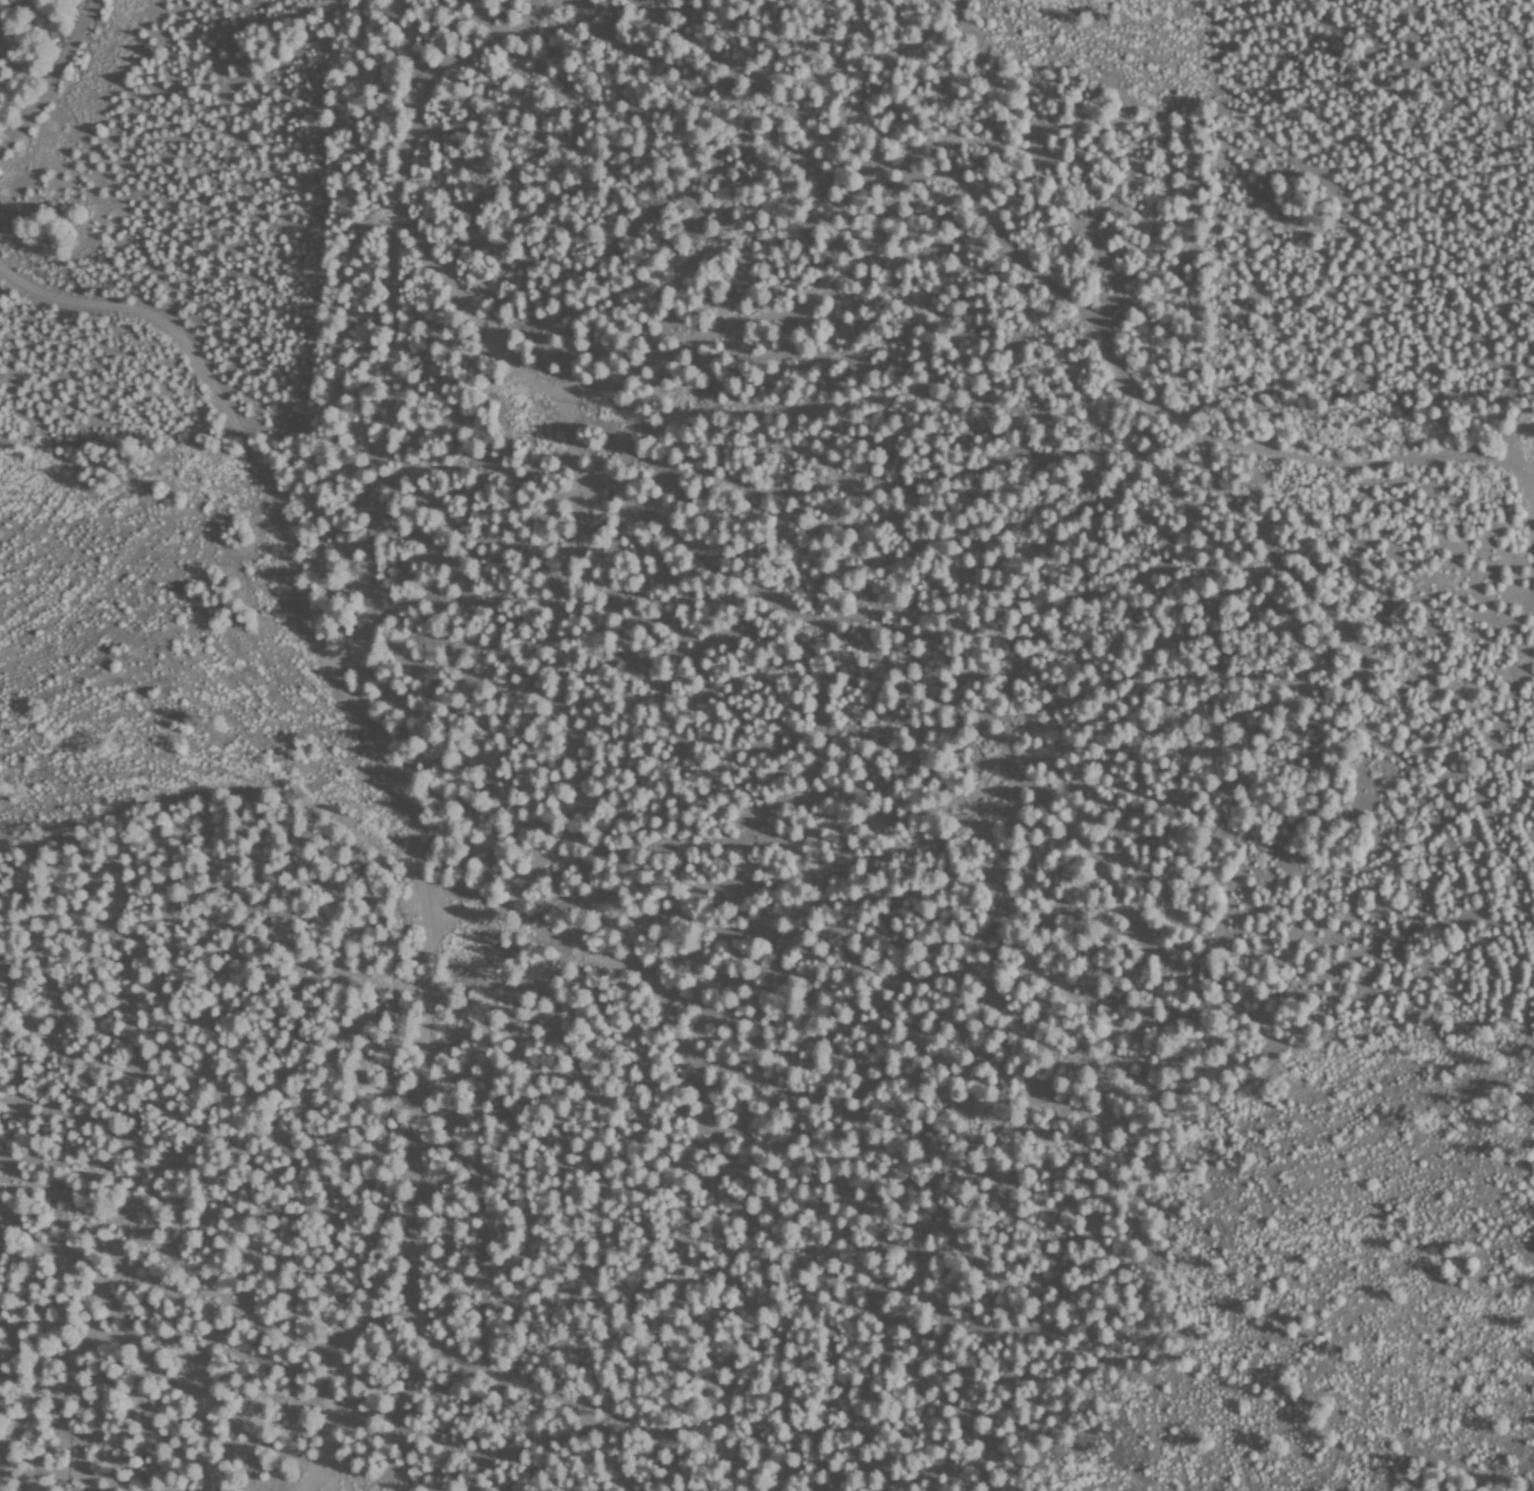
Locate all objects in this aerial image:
road: (402, 803)
road: (513, 1380)

